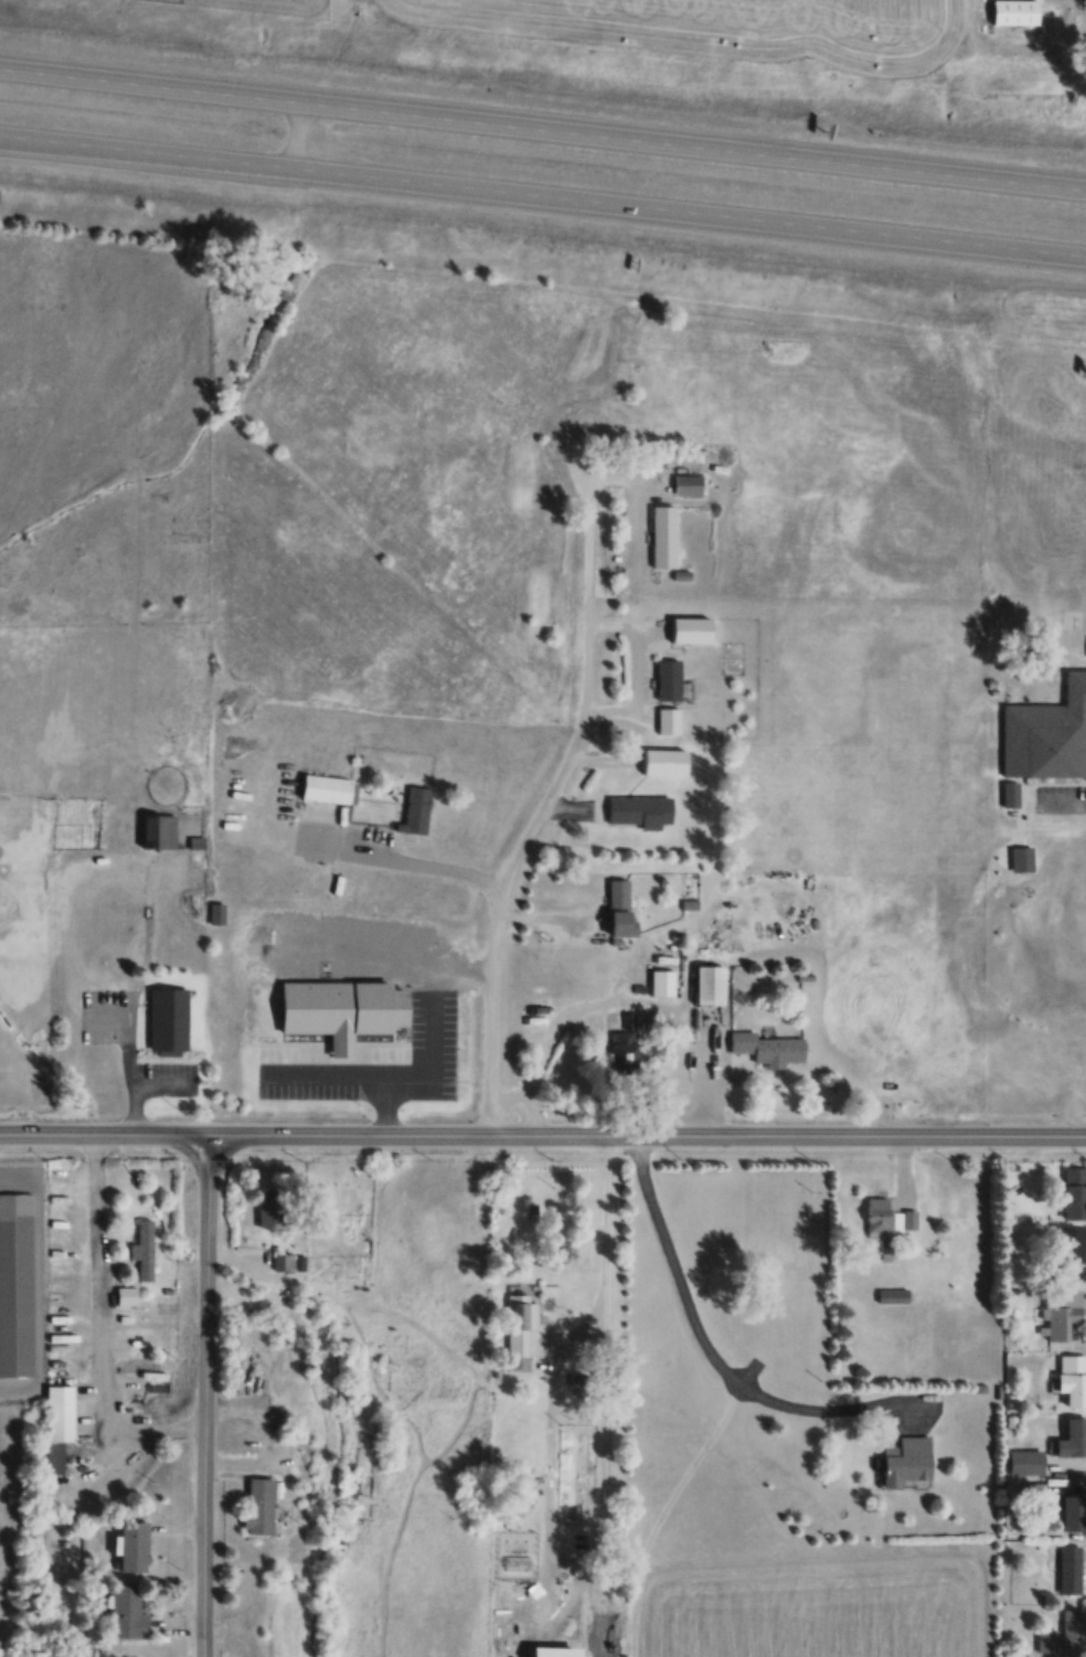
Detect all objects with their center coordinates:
building: (1011, 12)
road: (543, 131)
road: (543, 200)
building: (663, 537)
building: (692, 630)
road: (585, 644)
building: (669, 679)
building: (668, 721)
building: (1047, 734)
building: (666, 761)
building: (328, 788)
building: (417, 809)
building: (641, 810)
building: (159, 830)
building: (621, 906)
building: (215, 913)
building: (114, 931)
road: (453, 971)
building: (663, 982)
building: (340, 1006)
road: (102, 1015)
building: (169, 1019)
road: (489, 1040)
building: (624, 1047)
building: (768, 1048)
road: (130, 1074)
road: (387, 1074)
road: (163, 1079)
road: (383, 1105)
road: (657, 1133)
road: (907, 1134)
road: (404, 1135)
road: (1037, 1135)
road: (102, 1136)
road: (262, 1136)
building: (1075, 1193)
building: (271, 1210)
building: (886, 1221)
building: (1072, 1245)
building: (145, 1251)
building: (283, 1261)
road: (38, 1279)
building: (14, 1284)
building: (127, 1296)
building: (892, 1296)
building: (1062, 1313)
building: (518, 1325)
road: (94, 1330)
road: (702, 1346)
road: (564, 1349)
building: (1073, 1378)
road: (203, 1384)
building: (58, 1424)
building: (1073, 1438)
building: (905, 1462)
building: (1026, 1463)
building: (262, 1506)
building: (1074, 1512)
building: (135, 1546)
building: (1071, 1570)
crop: (811, 1606)
building: (514, 1611)
building: (129, 1614)
building: (1074, 1633)
building: (1047, 1642)
road: (201, 1645)

